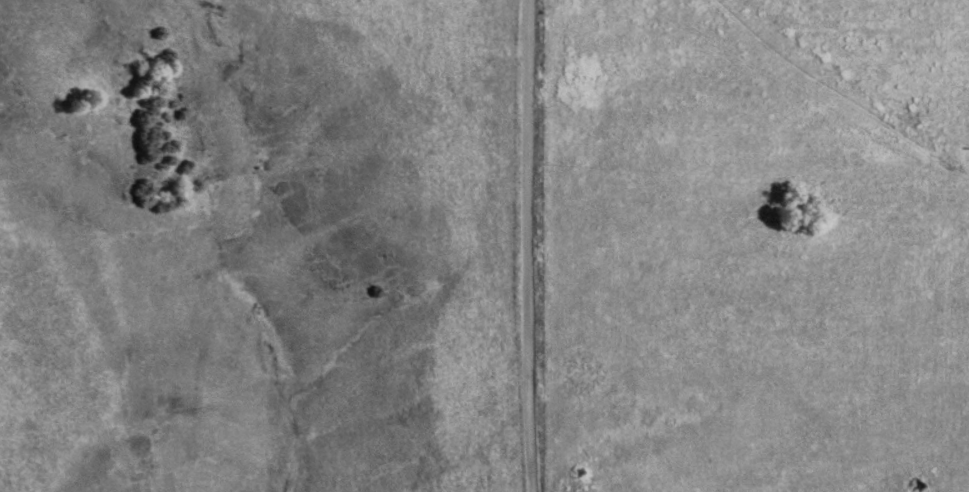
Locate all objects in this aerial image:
road: (527, 246)

